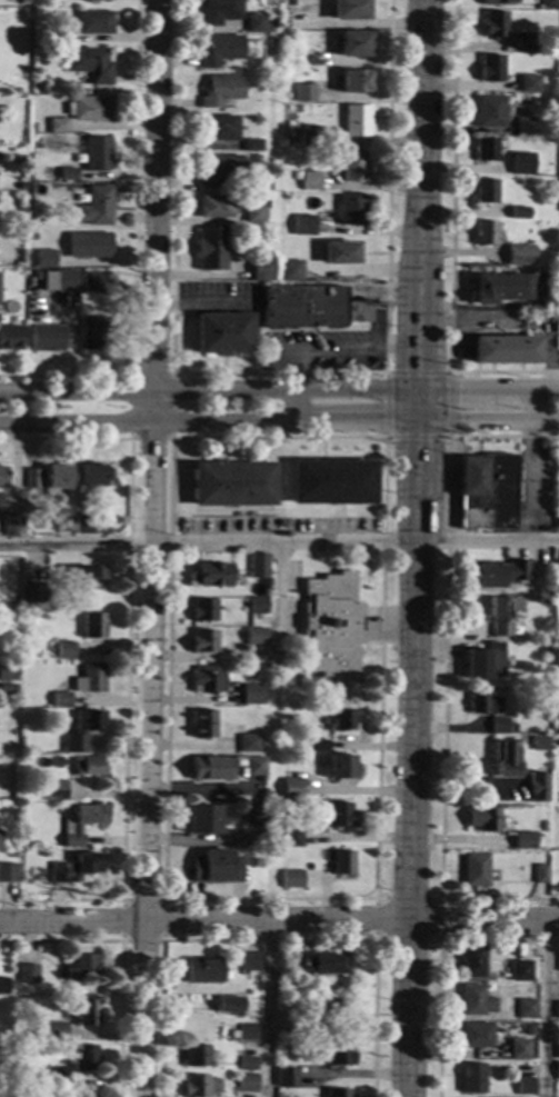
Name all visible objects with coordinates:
building: (93, 0)
building: (23, 1)
building: (497, 2)
building: (549, 4)
building: (349, 10)
building: (218, 11)
building: (93, 23)
building: (253, 23)
building: (493, 23)
building: (61, 37)
building: (526, 42)
building: (355, 44)
building: (543, 49)
building: (220, 51)
building: (290, 61)
building: (89, 64)
building: (490, 68)
building: (356, 82)
building: (528, 82)
building: (518, 84)
building: (40, 86)
building: (220, 90)
building: (306, 92)
building: (89, 109)
building: (489, 111)
building: (357, 121)
building: (57, 126)
building: (523, 126)
building: (36, 128)
building: (217, 128)
building: (310, 137)
building: (251, 146)
building: (485, 149)
building: (97, 153)
building: (252, 158)
building: (17, 160)
building: (520, 162)
building: (352, 166)
building: (219, 170)
building: (511, 171)
building: (68, 174)
building: (309, 181)
building: (21, 187)
building: (483, 191)
road: (417, 201)
building: (96, 207)
building: (214, 207)
building: (350, 211)
building: (519, 212)
building: (252, 215)
building: (32, 221)
building: (301, 225)
building: (483, 232)
building: (18, 237)
road: (451, 240)
building: (88, 246)
building: (210, 248)
road: (132, 252)
building: (338, 252)
building: (515, 253)
building: (44, 259)
building: (260, 269)
building: (290, 270)
building: (56, 280)
building: (90, 283)
building: (32, 288)
building: (498, 289)
building: (68, 301)
building: (311, 307)
building: (7, 310)
road: (368, 330)
building: (93, 332)
building: (222, 333)
building: (10, 338)
building: (46, 339)
road: (362, 350)
building: (505, 350)
road: (287, 351)
traffic signals: (415, 368)
traffic signals: (415, 372)
road: (449, 372)
road: (277, 373)
road: (131, 375)
road: (293, 383)
traffic signals: (385, 388)
traffic signals: (449, 388)
traffic signals: (458, 388)
road: (279, 390)
road: (415, 410)
traffic signals: (449, 418)
road: (487, 418)
road: (352, 419)
traffic signals: (381, 419)
traffic signals: (385, 419)
road: (146, 422)
traffic signals: (413, 437)
traffic signals: (413, 442)
road: (527, 465)
building: (96, 476)
building: (2, 478)
building: (50, 479)
building: (332, 482)
building: (232, 483)
building: (486, 492)
building: (558, 493)
building: (558, 518)
building: (64, 522)
building: (282, 523)
building: (13, 525)
building: (84, 525)
road: (279, 543)
road: (149, 548)
building: (557, 561)
building: (258, 566)
building: (497, 575)
building: (211, 576)
building: (86, 579)
road: (277, 590)
building: (32, 594)
building: (257, 606)
building: (543, 606)
building: (203, 610)
building: (492, 615)
building: (92, 627)
building: (331, 627)
building: (254, 637)
building: (203, 641)
building: (64, 651)
building: (483, 661)
road: (127, 666)
road: (445, 671)
building: (7, 672)
building: (89, 679)
building: (207, 681)
building: (8, 690)
building: (252, 695)
building: (61, 700)
building: (482, 705)
building: (340, 720)
building: (202, 725)
building: (499, 727)
building: (82, 728)
building: (558, 730)
building: (300, 742)
building: (248, 744)
building: (539, 745)
building: (318, 746)
road: (410, 757)
building: (503, 759)
building: (88, 767)
building: (254, 767)
building: (340, 767)
building: (210, 769)
building: (537, 788)
building: (292, 789)
building: (56, 790)
building: (253, 814)
building: (339, 816)
building: (483, 819)
building: (202, 820)
building: (79, 825)
building: (290, 838)
building: (523, 841)
building: (43, 854)
building: (342, 862)
building: (77, 868)
building: (216, 868)
building: (476, 870)
building: (8, 874)
building: (541, 875)
building: (291, 879)
road: (378, 897)
road: (279, 921)
road: (270, 939)
road: (440, 939)
road: (163, 940)
road: (121, 958)
road: (439, 959)
building: (471, 961)
building: (558, 961)
building: (251, 963)
building: (322, 964)
building: (82, 968)
building: (202, 971)
building: (521, 971)
building: (28, 975)
building: (4, 987)
building: (281, 989)
building: (476, 1001)
building: (292, 1005)
building: (229, 1006)
building: (326, 1008)
building: (526, 1008)
road: (545, 1008)
road: (267, 1009)
building: (557, 1010)
building: (87, 1014)
building: (528, 1027)
building: (53, 1031)
building: (247, 1033)
building: (476, 1036)
building: (518, 1050)
building: (557, 1053)
building: (339, 1055)
building: (198, 1056)
building: (84, 1058)
building: (6, 1060)
building: (248, 1064)
building: (558, 1070)
building: (20, 1073)
building: (56, 1078)
building: (287, 1078)
building: (472, 1078)
building: (247, 1084)
building: (200, 1086)
building: (525, 1087)
building: (80, 1094)
building: (338, 1094)

